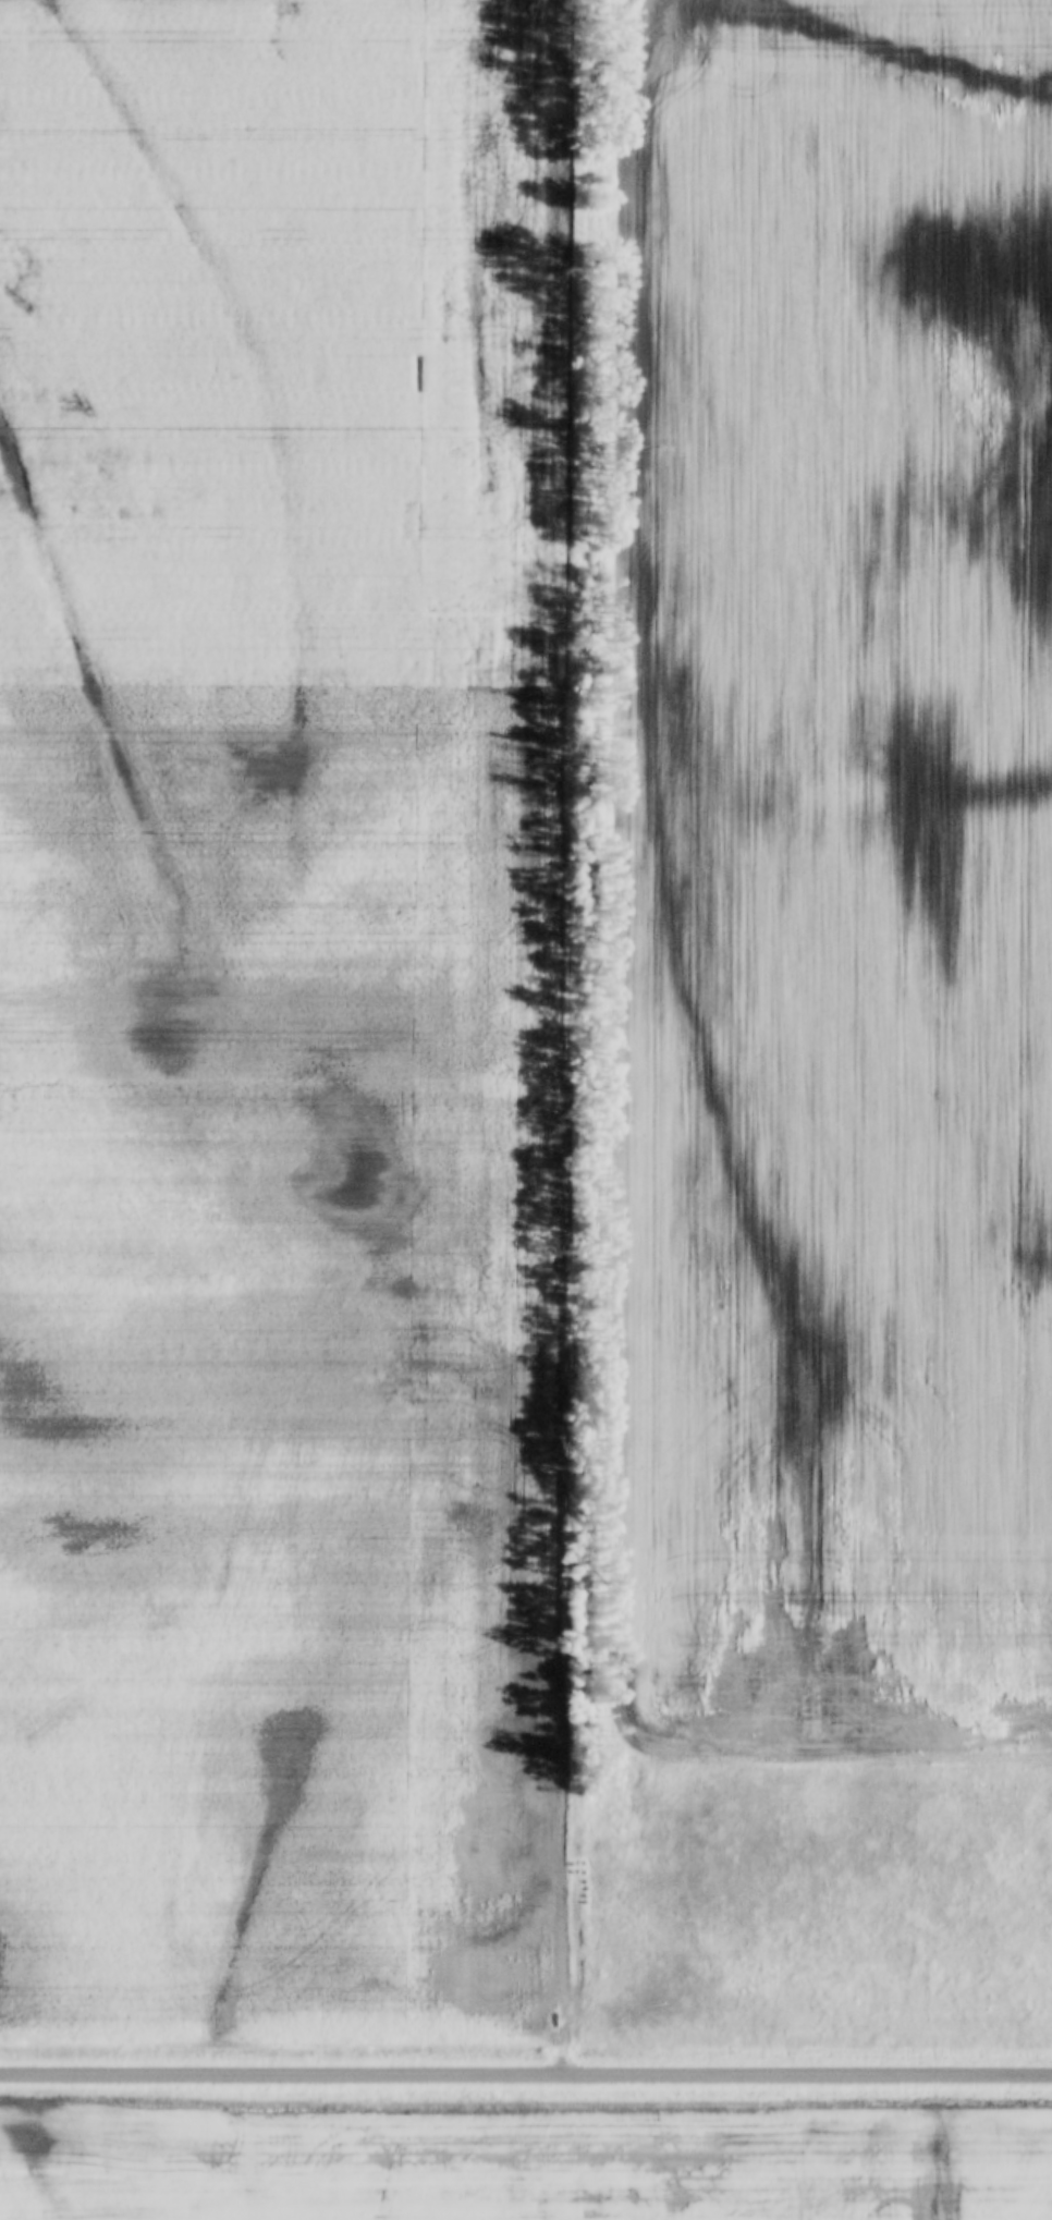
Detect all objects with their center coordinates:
road: (525, 2077)

